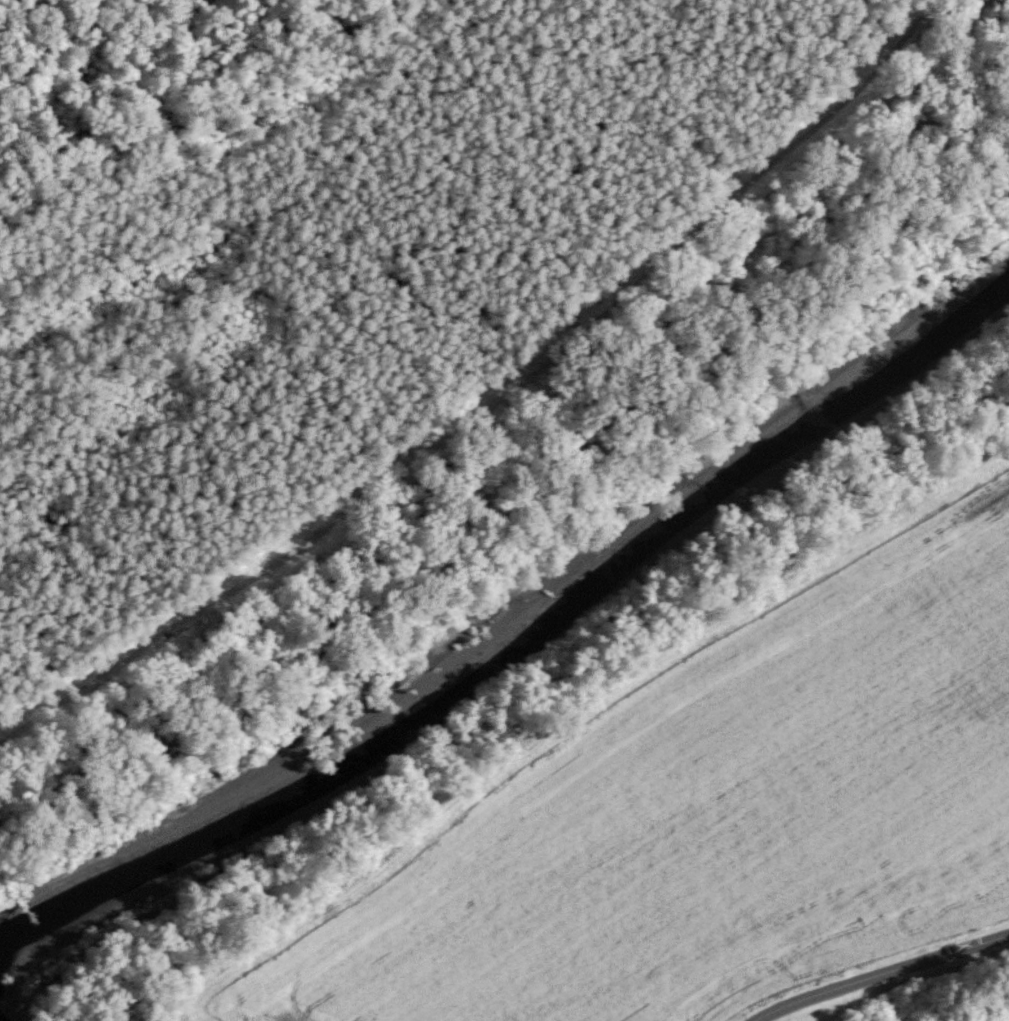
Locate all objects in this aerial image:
road: (880, 973)

